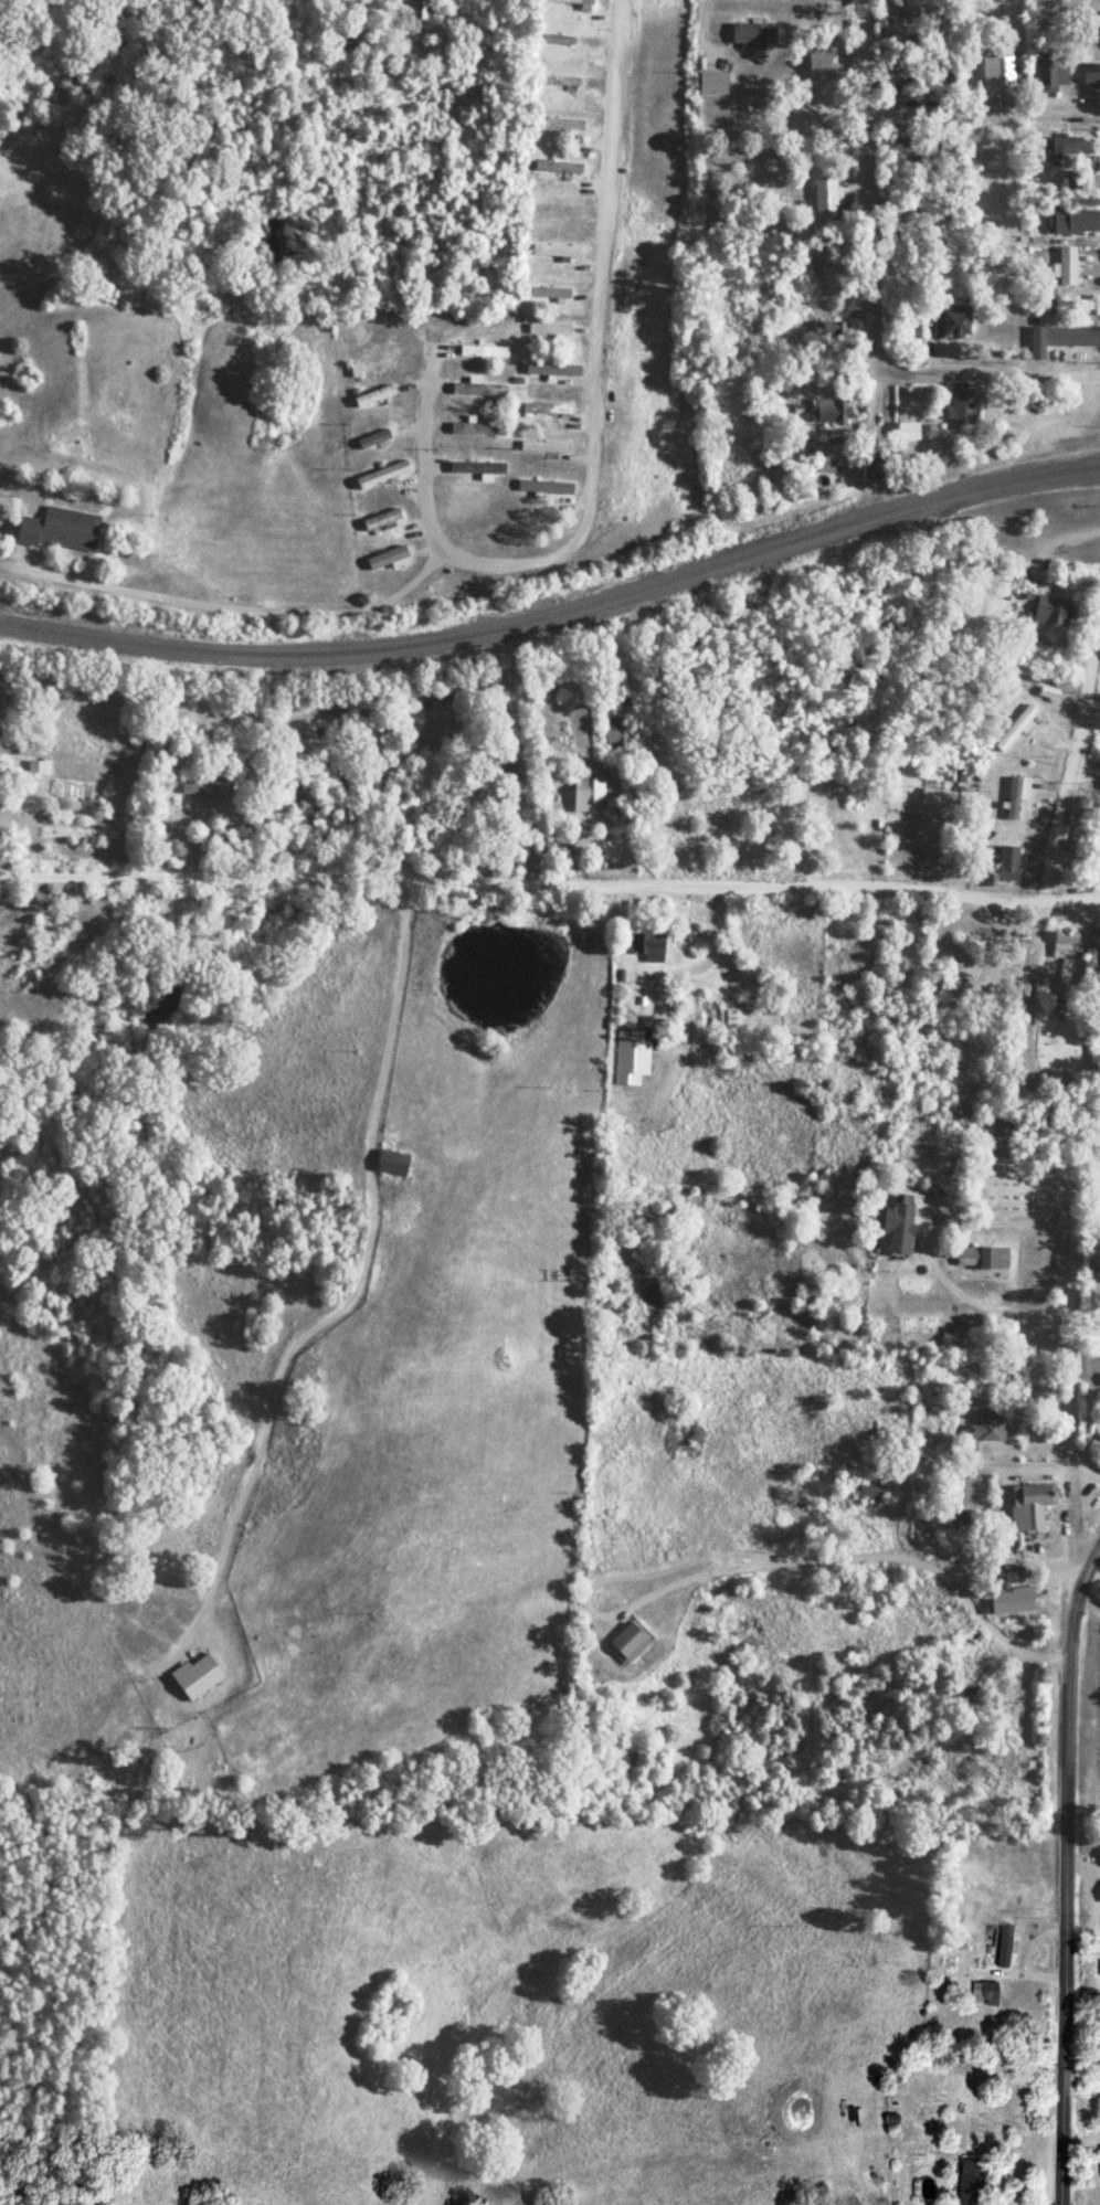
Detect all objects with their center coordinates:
building: (417, 10)
building: (754, 34)
building: (560, 40)
building: (823, 67)
building: (1002, 71)
building: (1053, 73)
building: (1092, 74)
building: (715, 84)
road: (984, 112)
building: (561, 124)
building: (1066, 145)
building: (558, 166)
building: (1087, 181)
building: (826, 199)
building: (1077, 221)
road: (870, 226)
building: (558, 252)
building: (1067, 266)
building: (552, 295)
building: (956, 321)
building: (551, 330)
building: (1061, 339)
building: (553, 370)
road: (986, 373)
building: (479, 389)
building: (962, 407)
building: (831, 412)
building: (477, 428)
building: (928, 431)
building: (909, 432)
building: (554, 448)
road: (597, 455)
building: (832, 458)
building: (477, 468)
building: (383, 475)
building: (547, 488)
building: (384, 519)
building: (59, 528)
building: (390, 559)
railway: (557, 609)
building: (1053, 609)
road: (1094, 714)
building: (1018, 728)
building: (614, 732)
building: (36, 767)
building: (207, 787)
building: (586, 787)
building: (1018, 795)
building: (939, 803)
building: (1011, 862)
road: (550, 883)
building: (1066, 942)
building: (649, 946)
road: (1055, 1114)
building: (1001, 1141)
building: (393, 1163)
building: (899, 1223)
building: (983, 1257)
building: (987, 1428)
road: (1086, 1469)
building: (872, 1491)
building: (1030, 1505)
road: (865, 1560)
building: (1014, 1594)
road: (1089, 1601)
building: (630, 1642)
building: (197, 1676)
road: (1068, 1874)
building: (1003, 1947)
building: (1099, 1972)
building: (985, 1992)
building: (1098, 2158)
building: (971, 2183)

